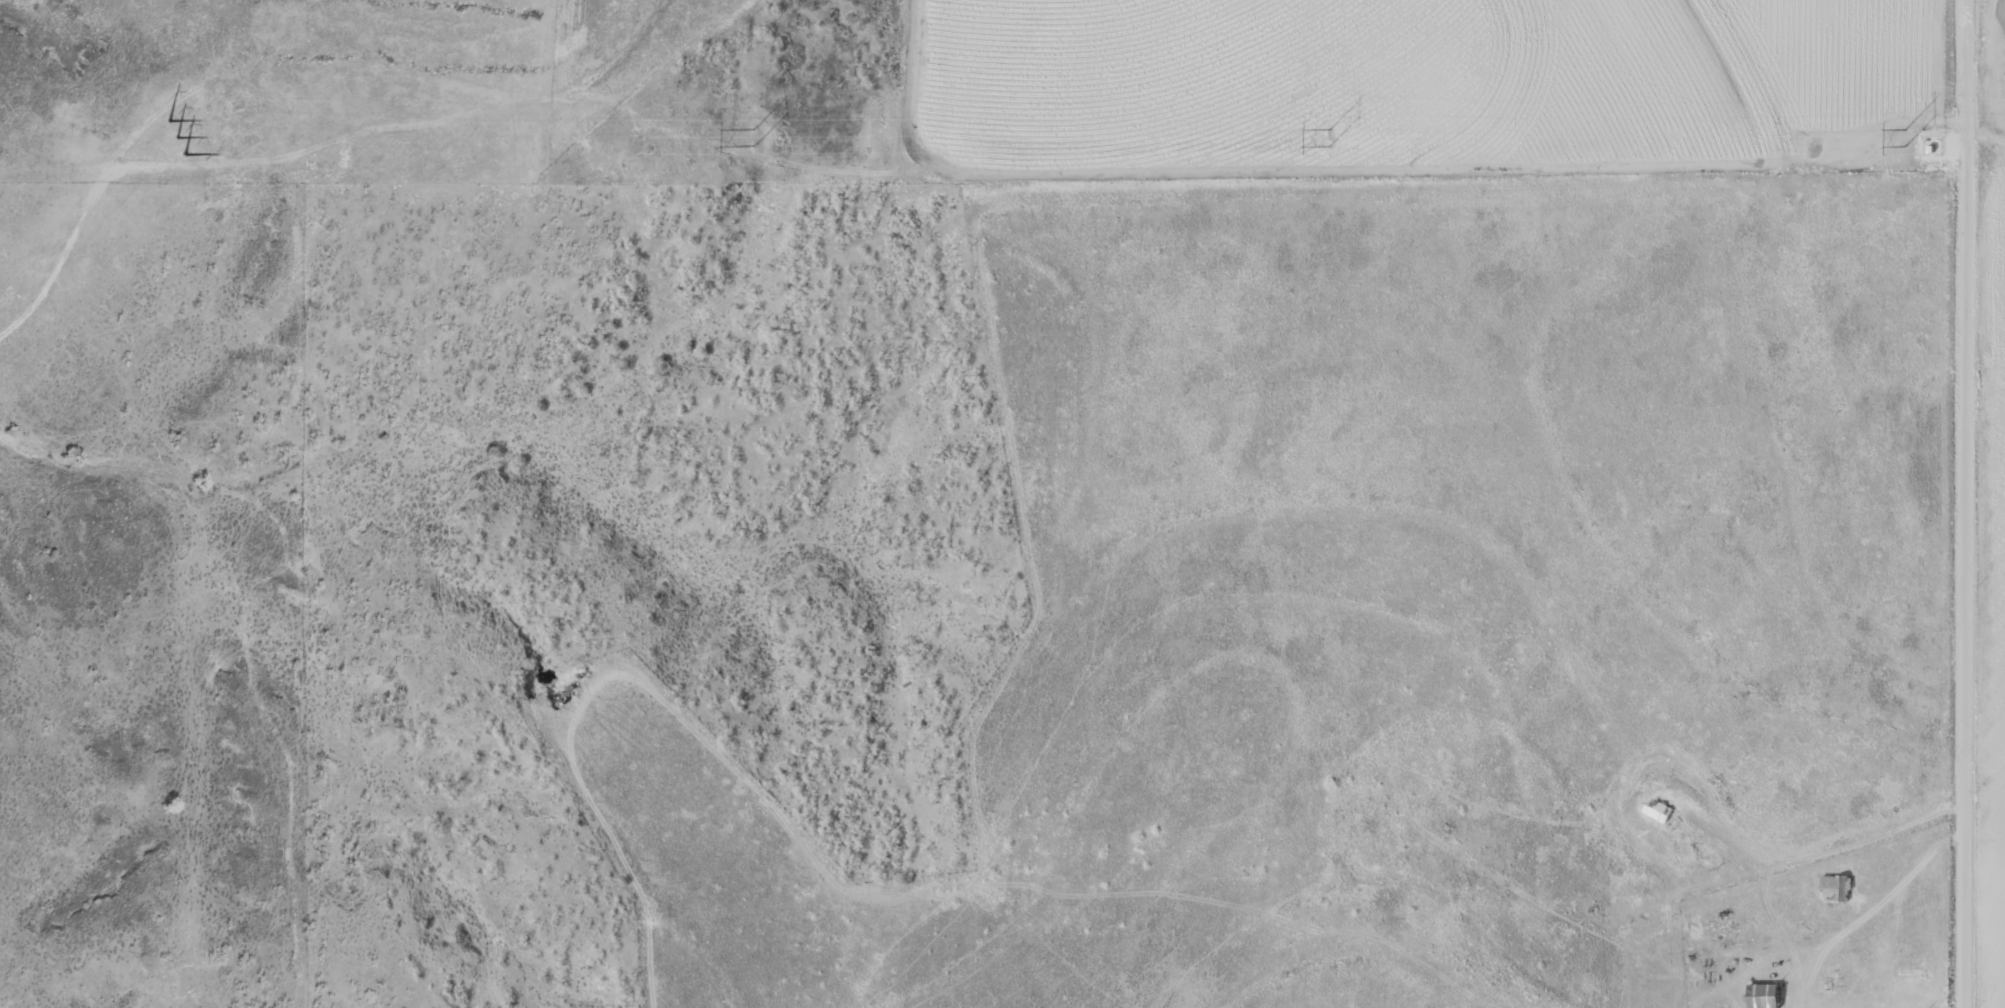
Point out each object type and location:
road: (1981, 124)
power tower: (180, 134)
power tower: (746, 134)
power tower: (1323, 134)
power tower: (1901, 134)
road: (1966, 504)
building: (1656, 808)
building: (1834, 886)
building: (1906, 977)
building: (1761, 995)

